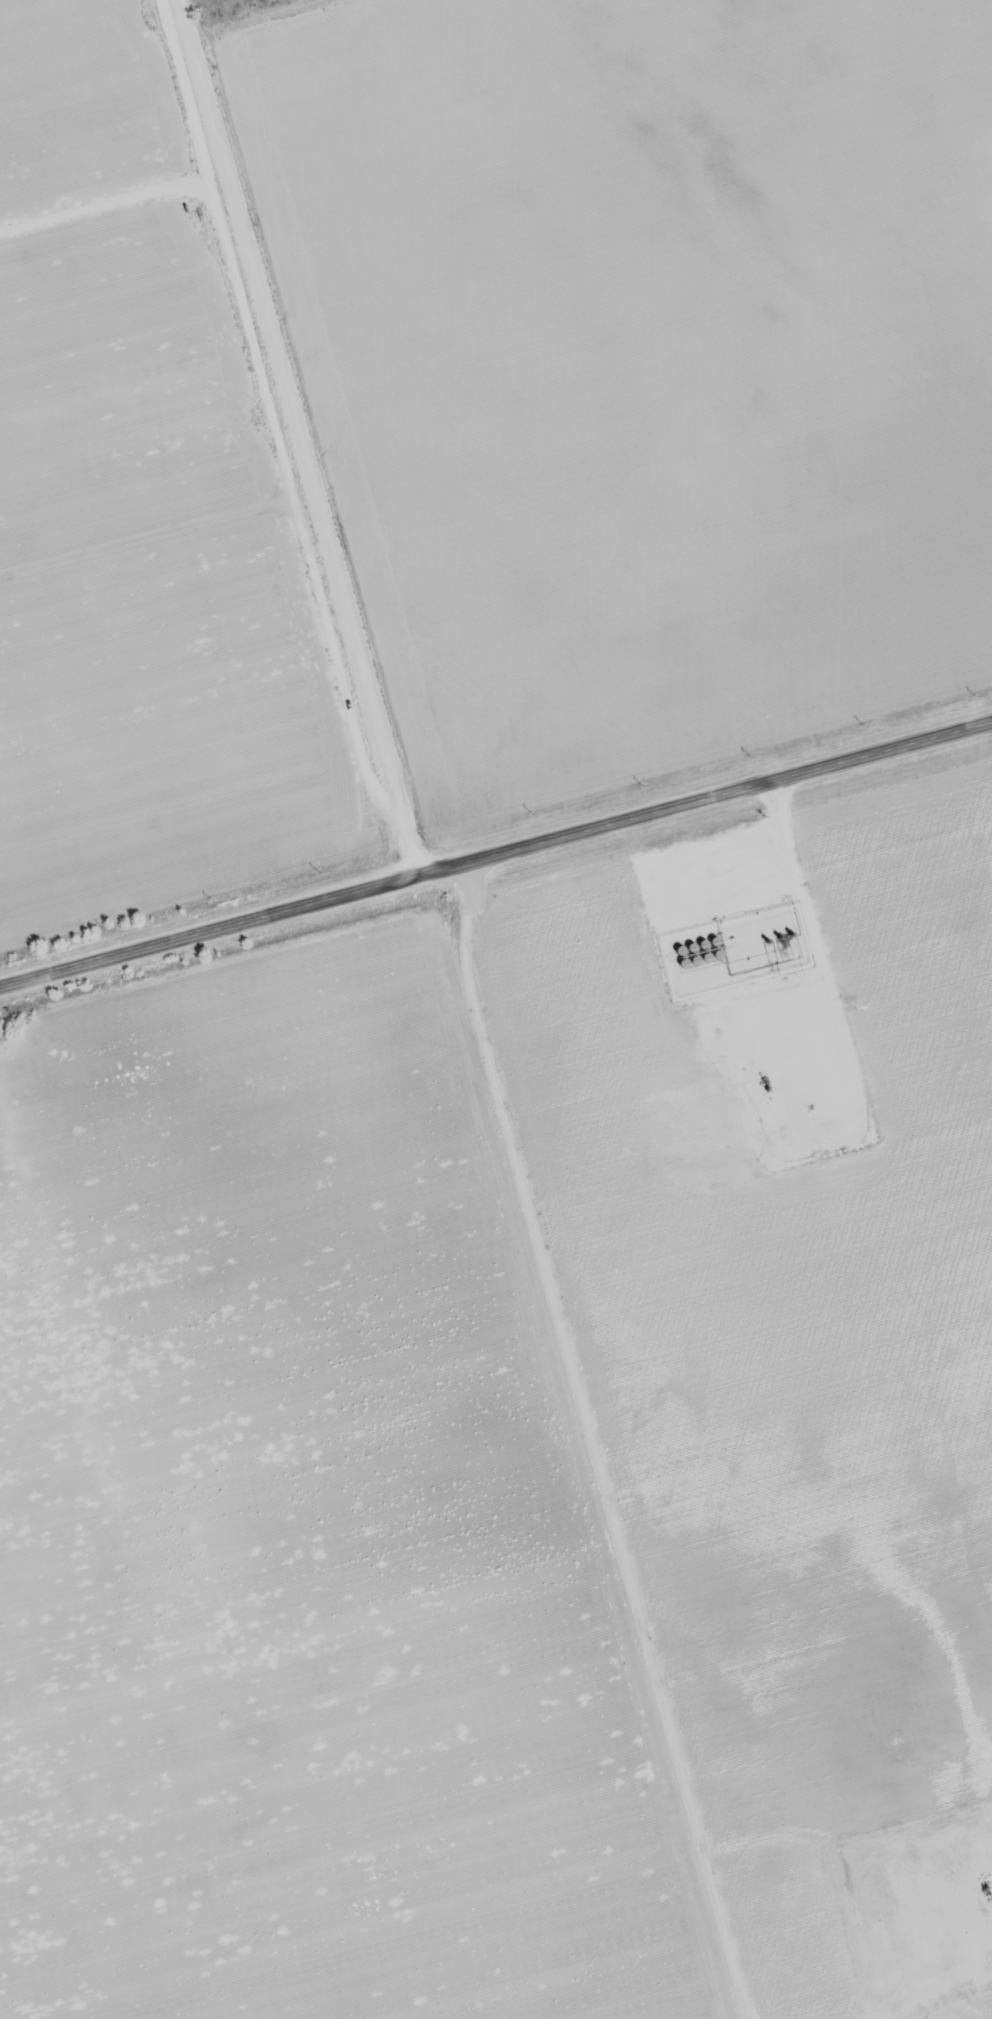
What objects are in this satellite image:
road: (302, 439)
road: (495, 858)

